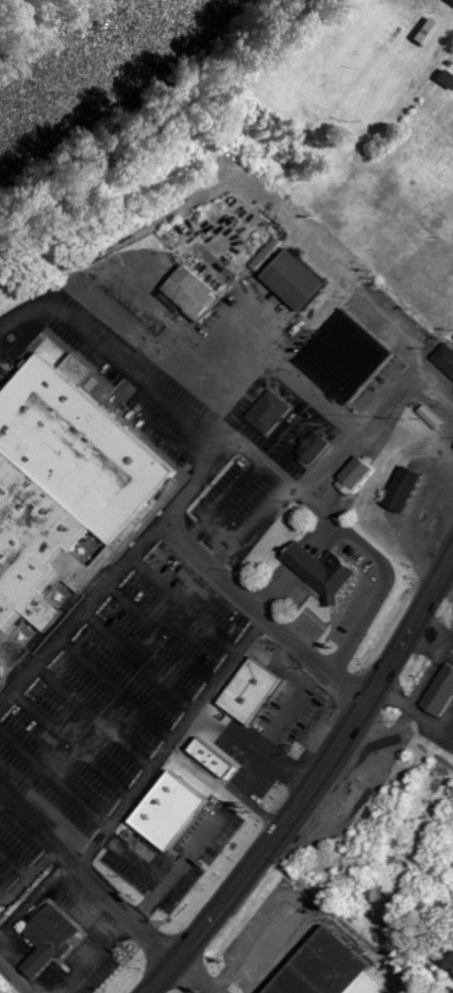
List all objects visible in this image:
building: (428, 33)
river: (69, 49)
building: (447, 80)
building: (302, 280)
building: (200, 294)
building: (350, 357)
building: (447, 358)
building: (272, 413)
building: (317, 448)
road: (269, 465)
building: (359, 477)
building: (409, 489)
building: (69, 507)
building: (327, 571)
road: (121, 581)
road: (249, 602)
building: (257, 691)
building: (443, 694)
road: (177, 748)
building: (220, 758)
road: (315, 782)
building: (177, 811)
road: (163, 875)
road: (87, 876)
building: (279, 936)
building: (56, 940)
road: (100, 956)
building: (451, 959)
building: (335, 972)
road: (15, 975)

